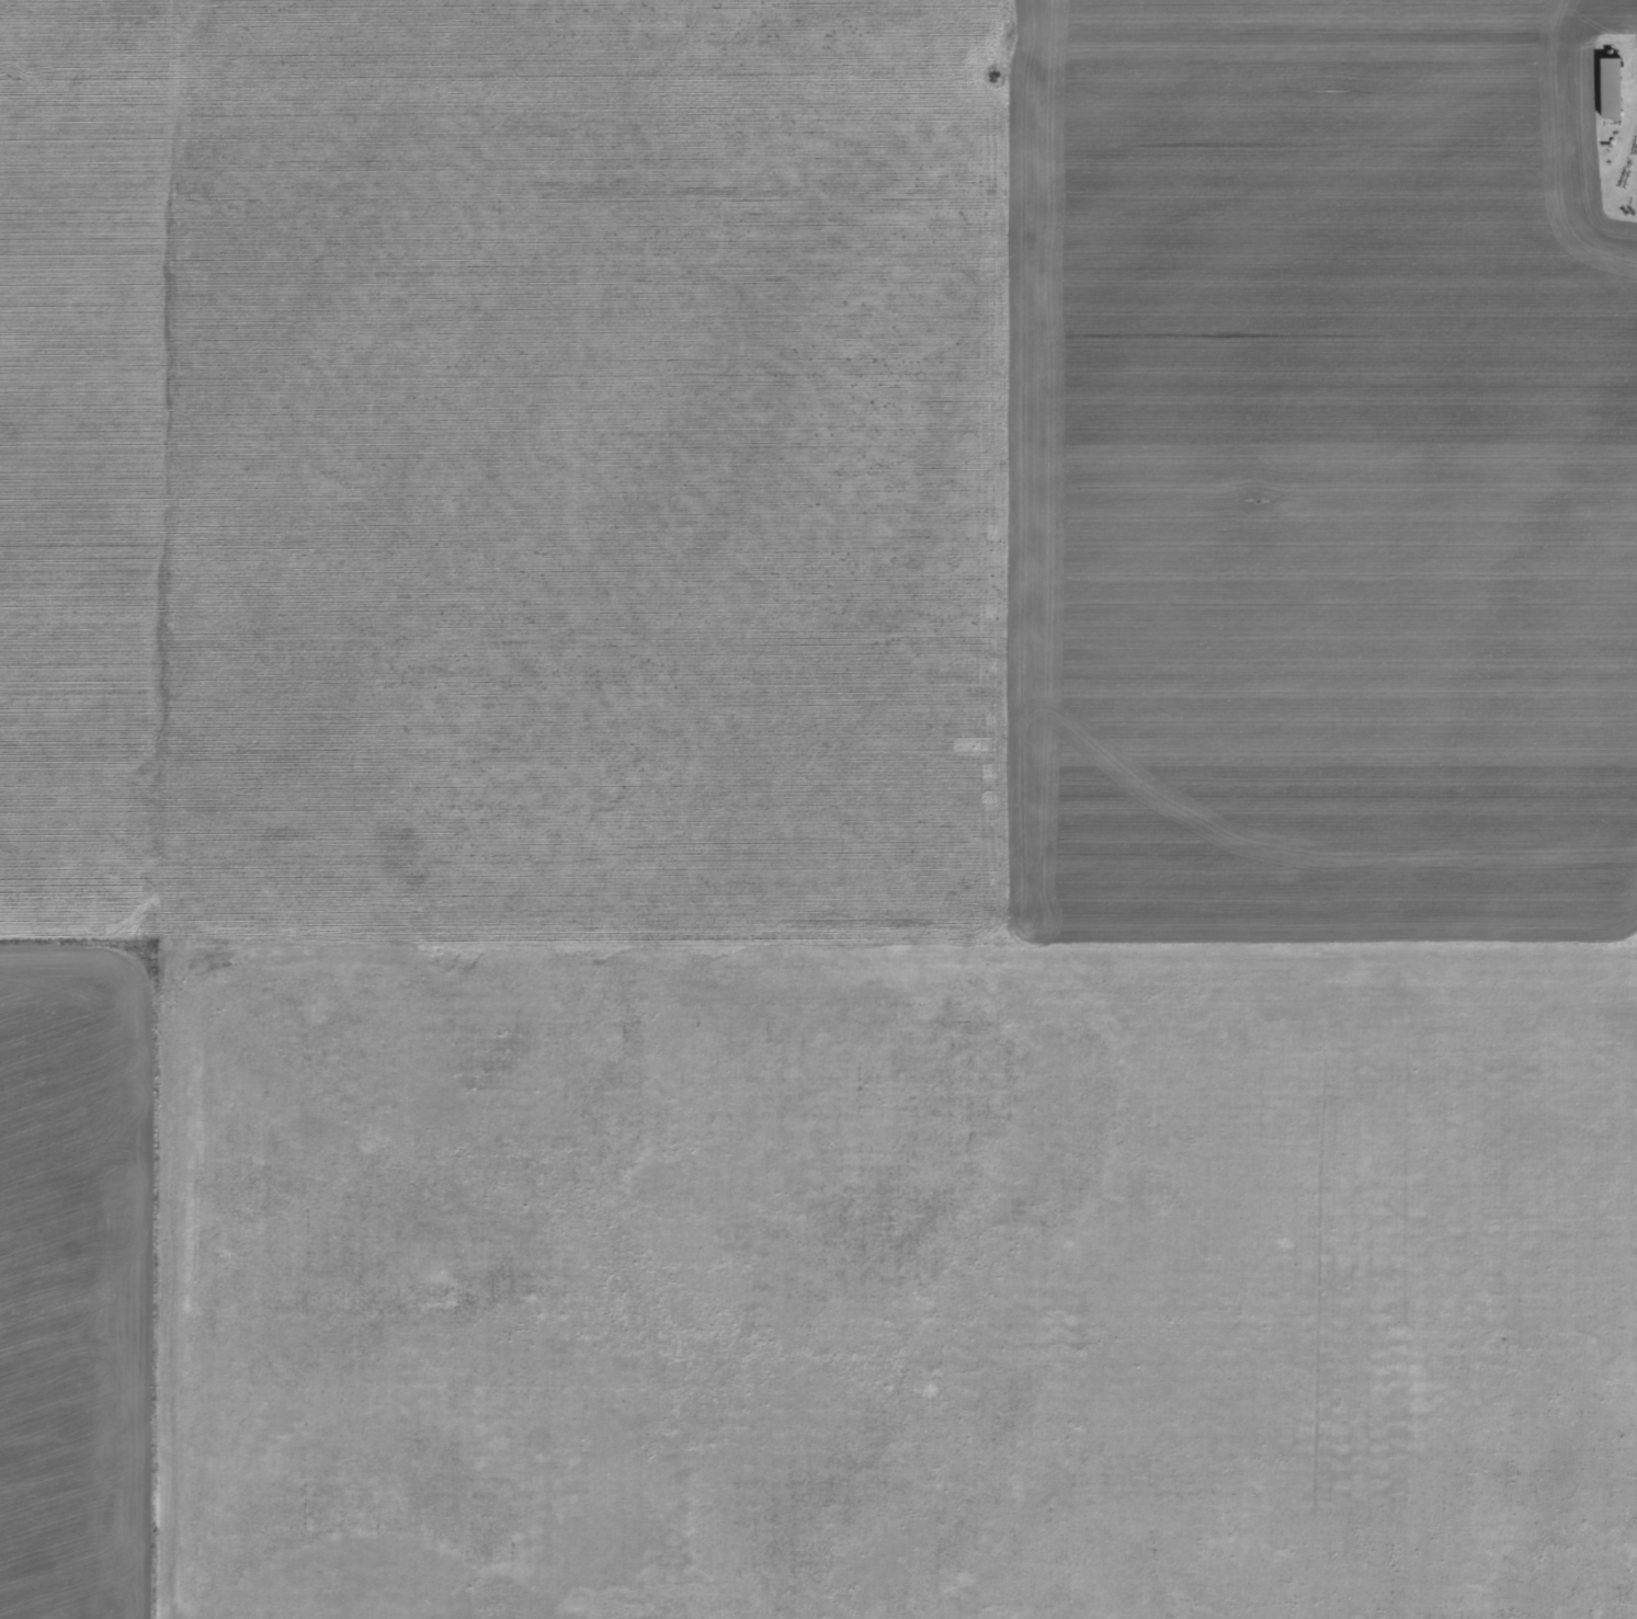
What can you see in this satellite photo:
building: (1604, 96)

